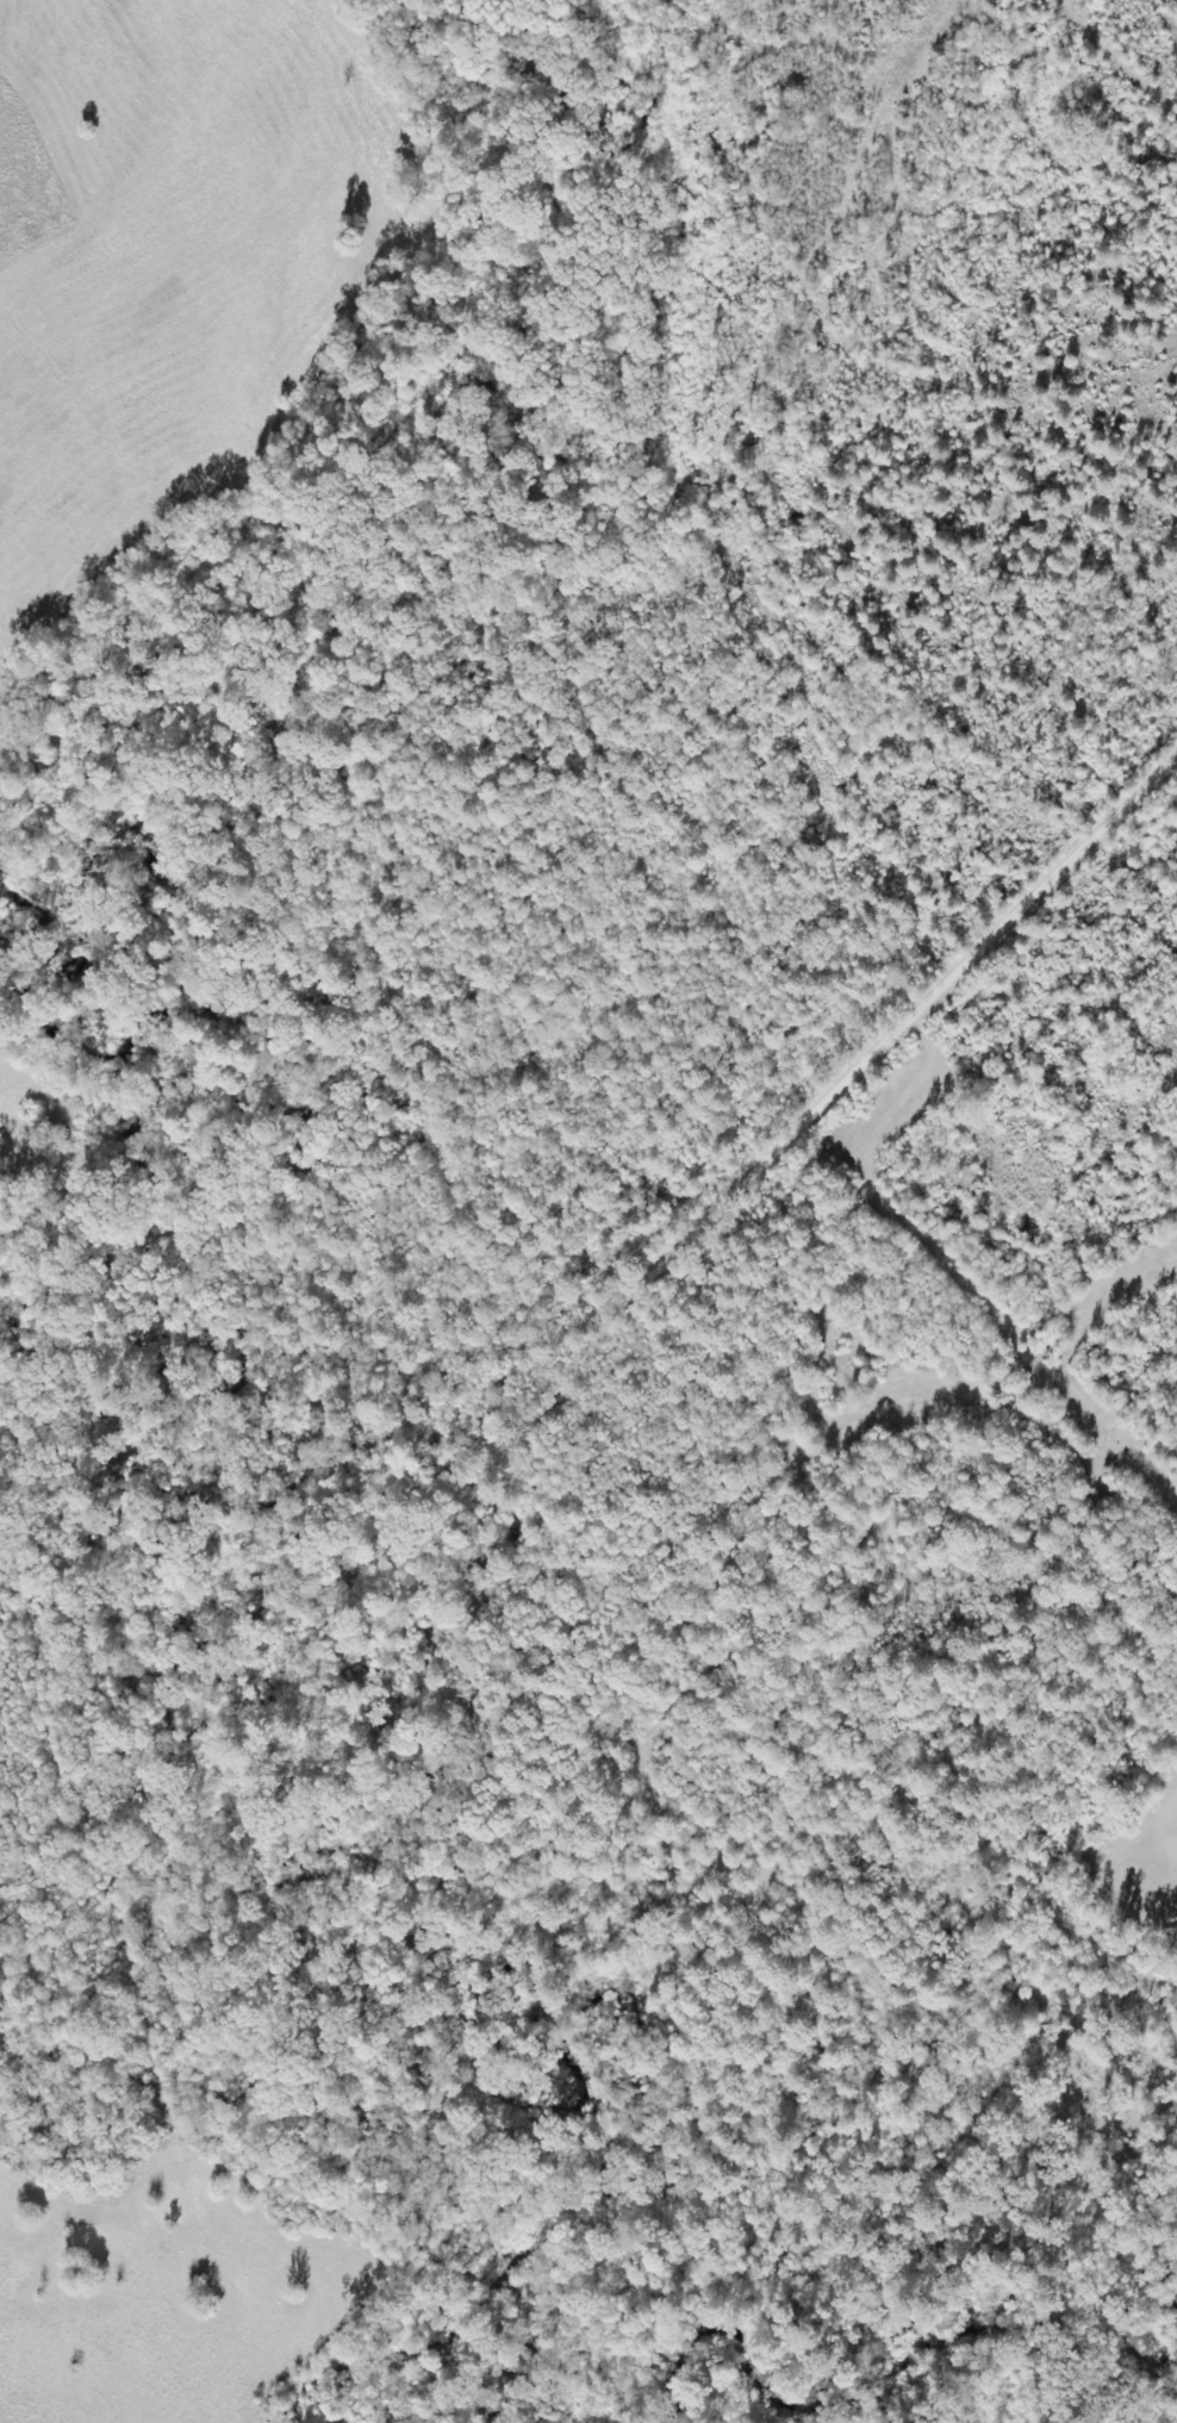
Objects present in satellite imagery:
road: (660, 1262)

